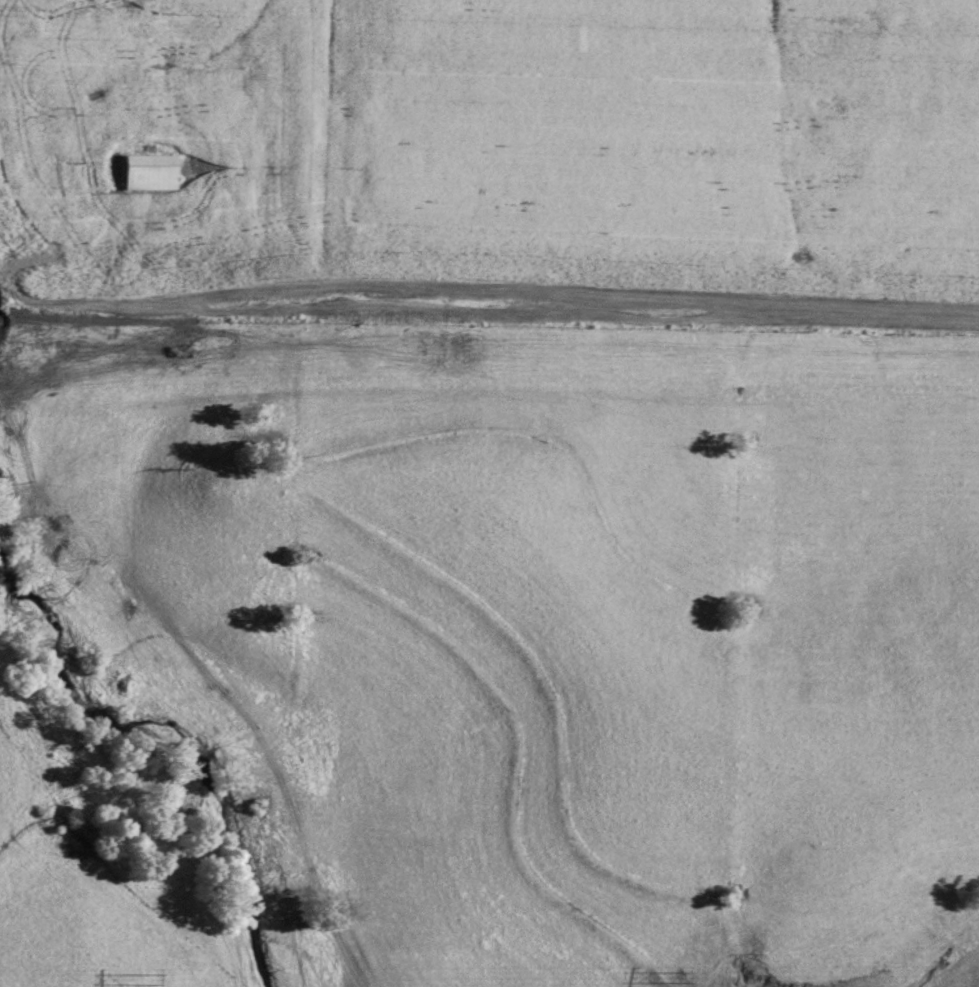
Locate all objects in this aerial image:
power tower: (675, 978)
power tower: (146, 984)

